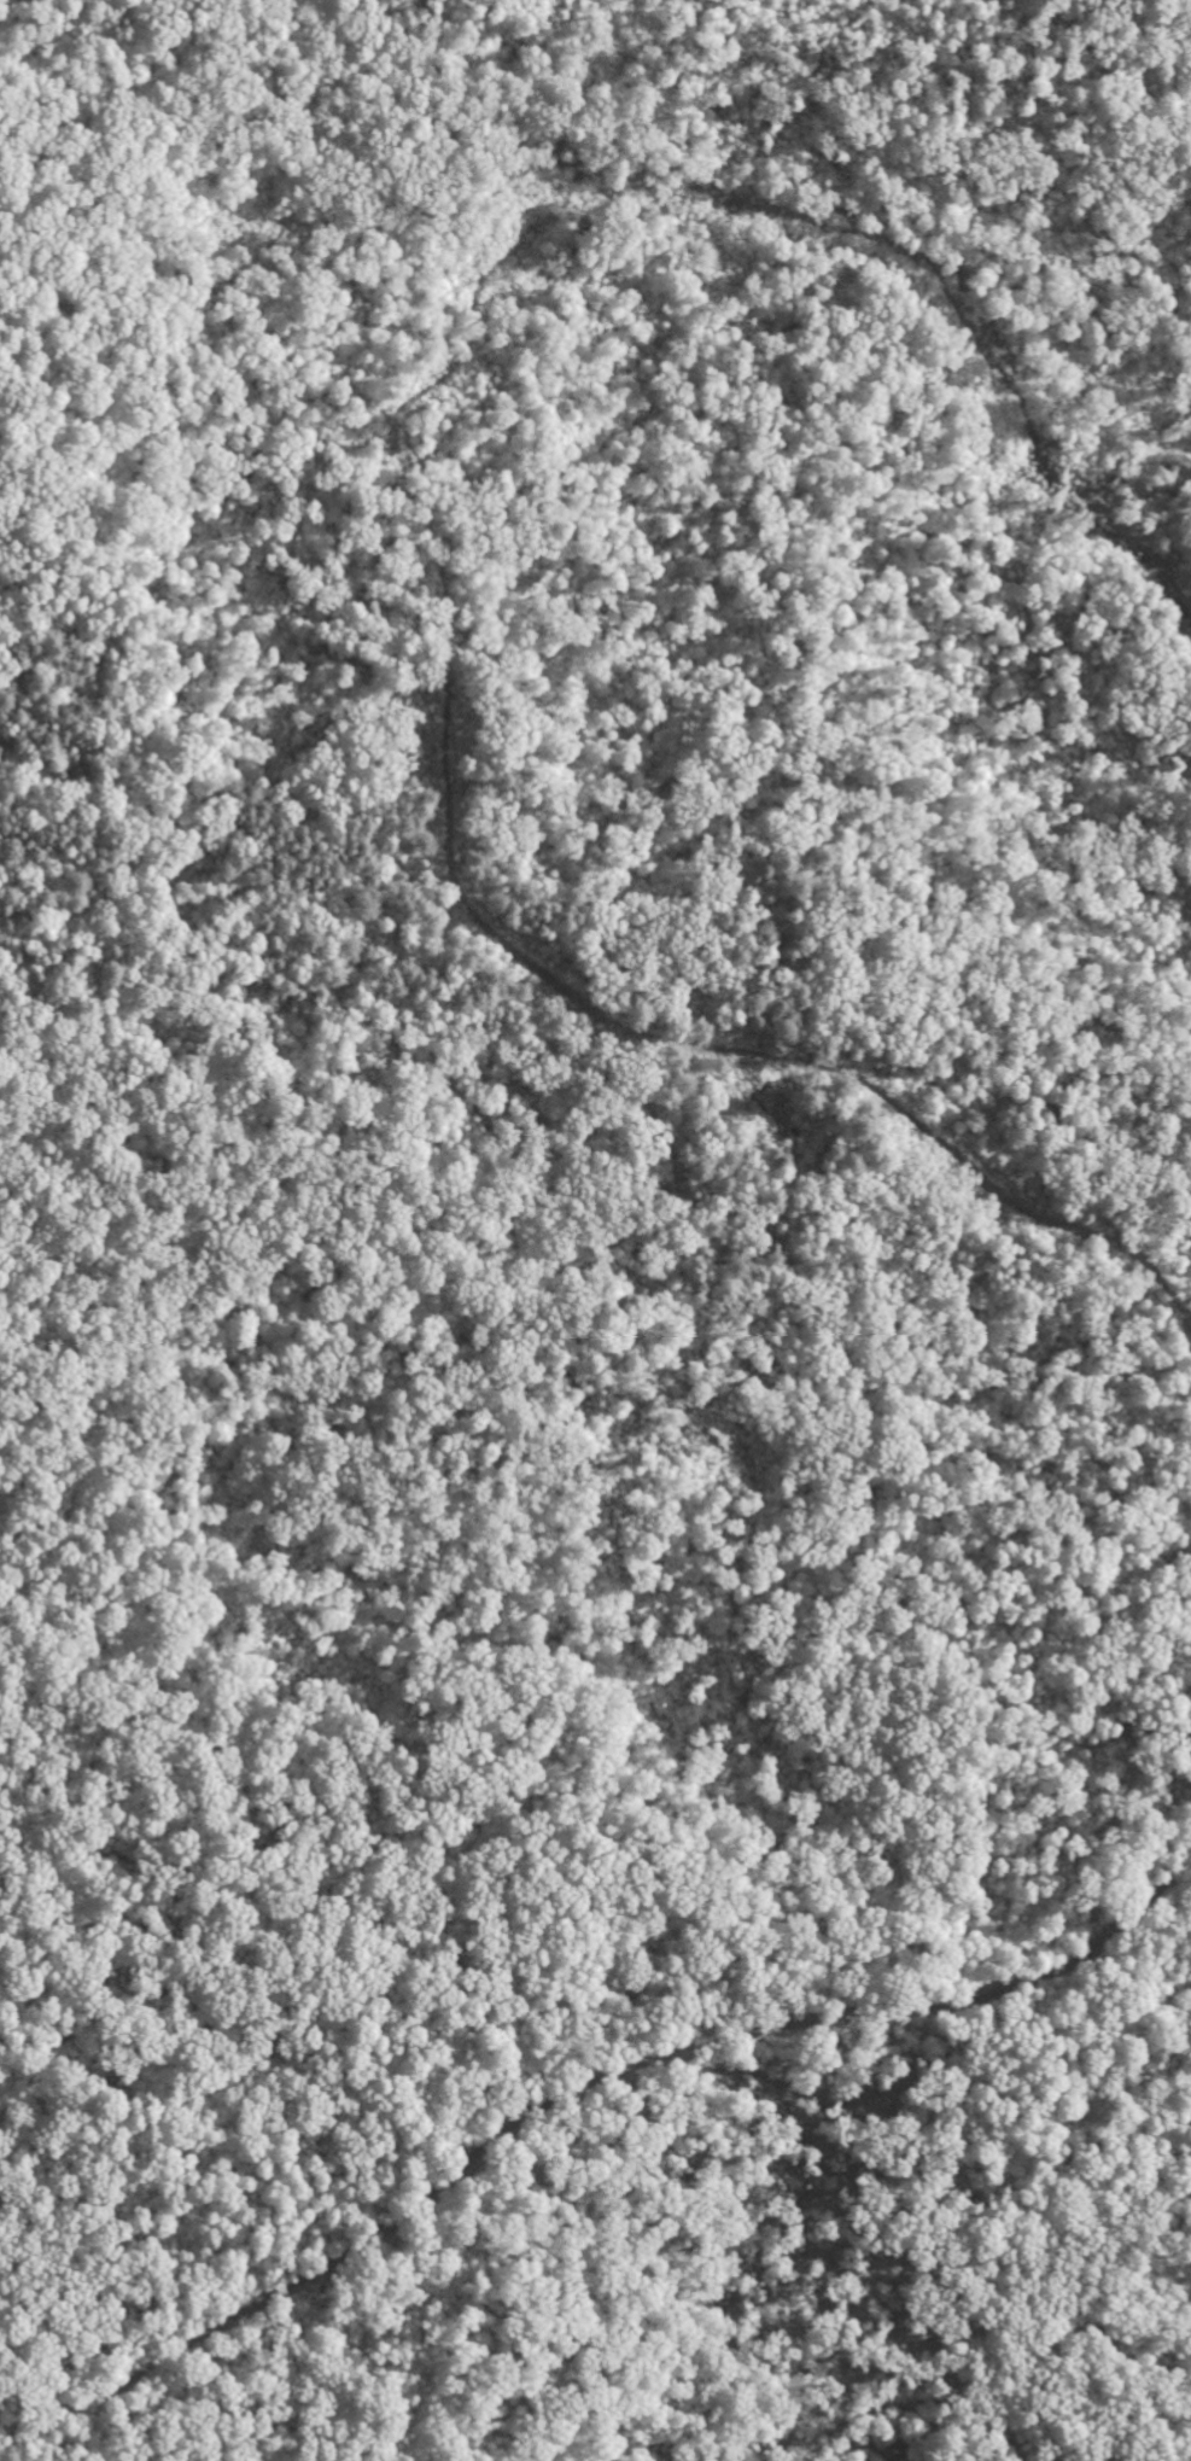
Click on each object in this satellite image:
road: (574, 2089)
road: (398, 2344)

